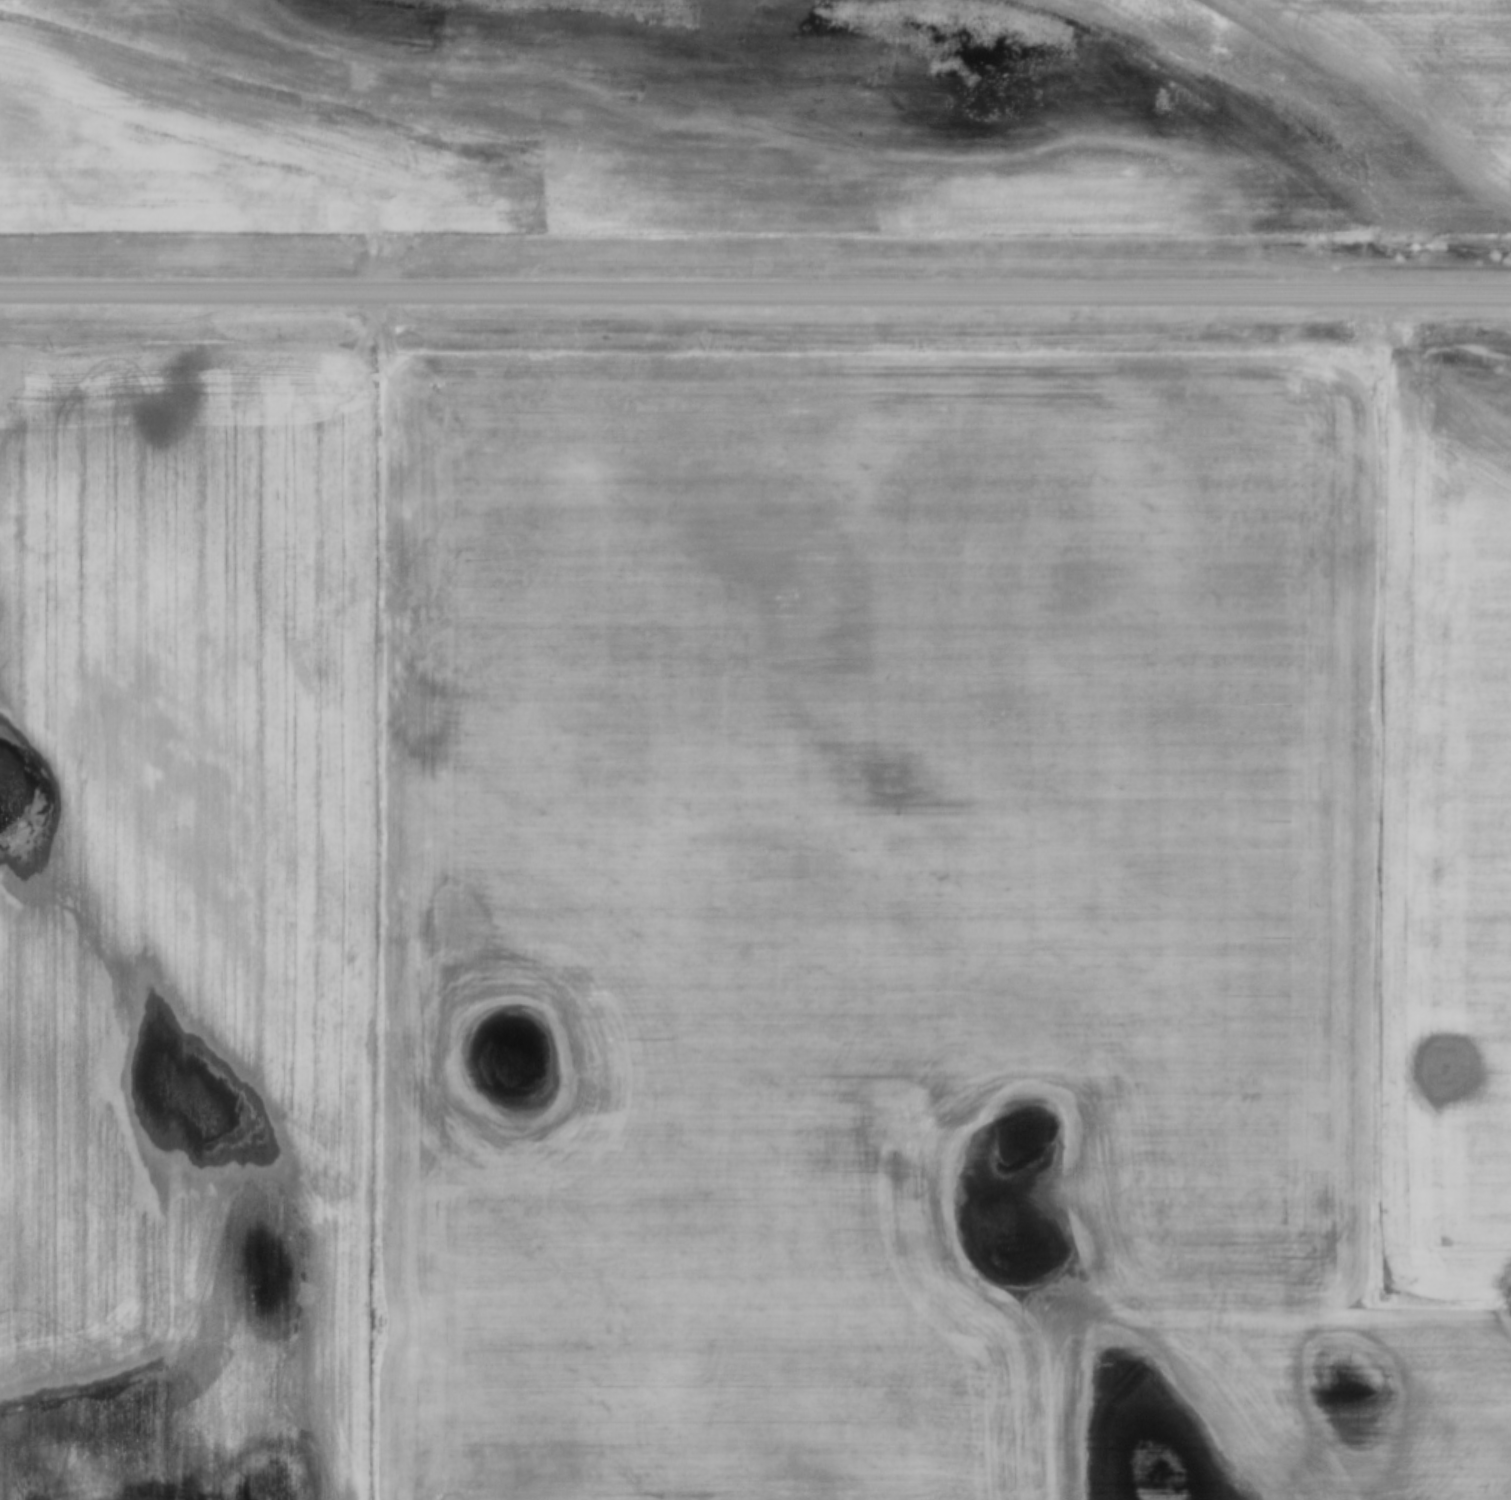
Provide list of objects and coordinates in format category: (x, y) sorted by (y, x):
crop: (756, 112)
road: (755, 290)

